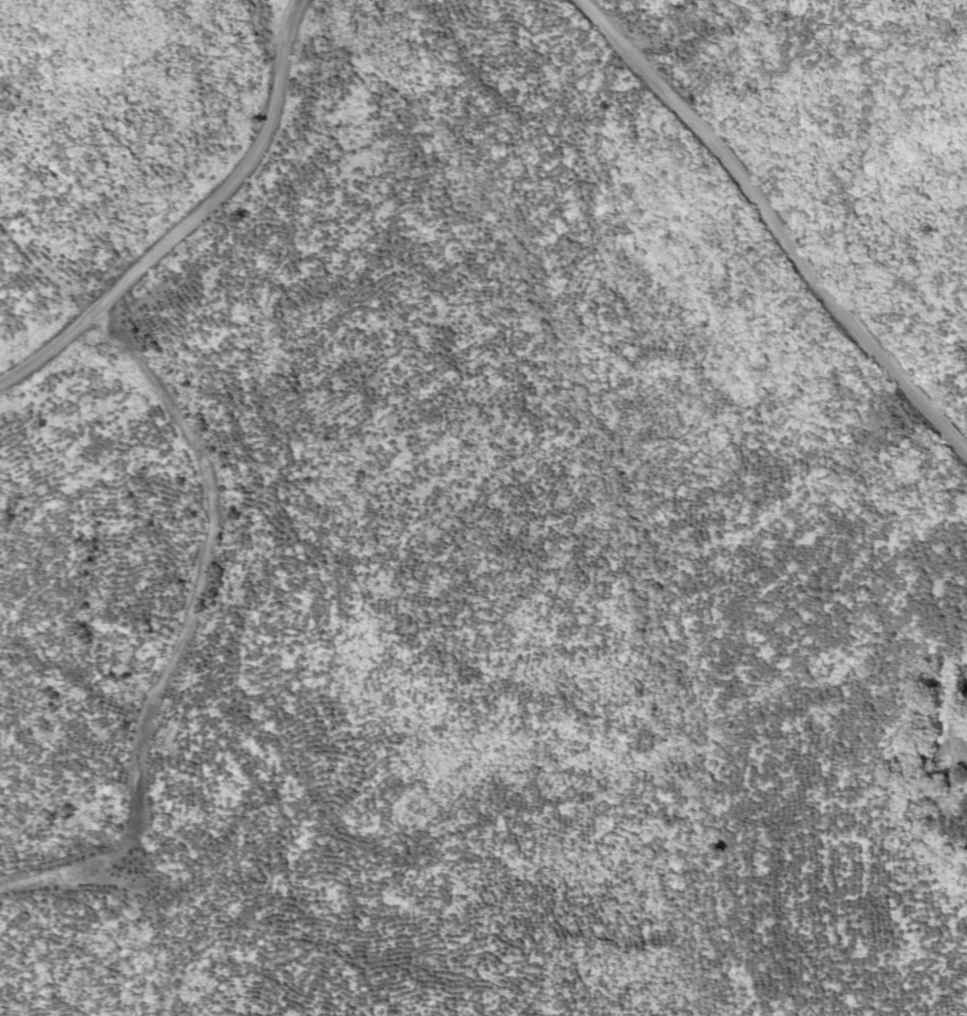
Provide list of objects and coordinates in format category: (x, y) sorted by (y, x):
road: (191, 220)
road: (780, 225)

